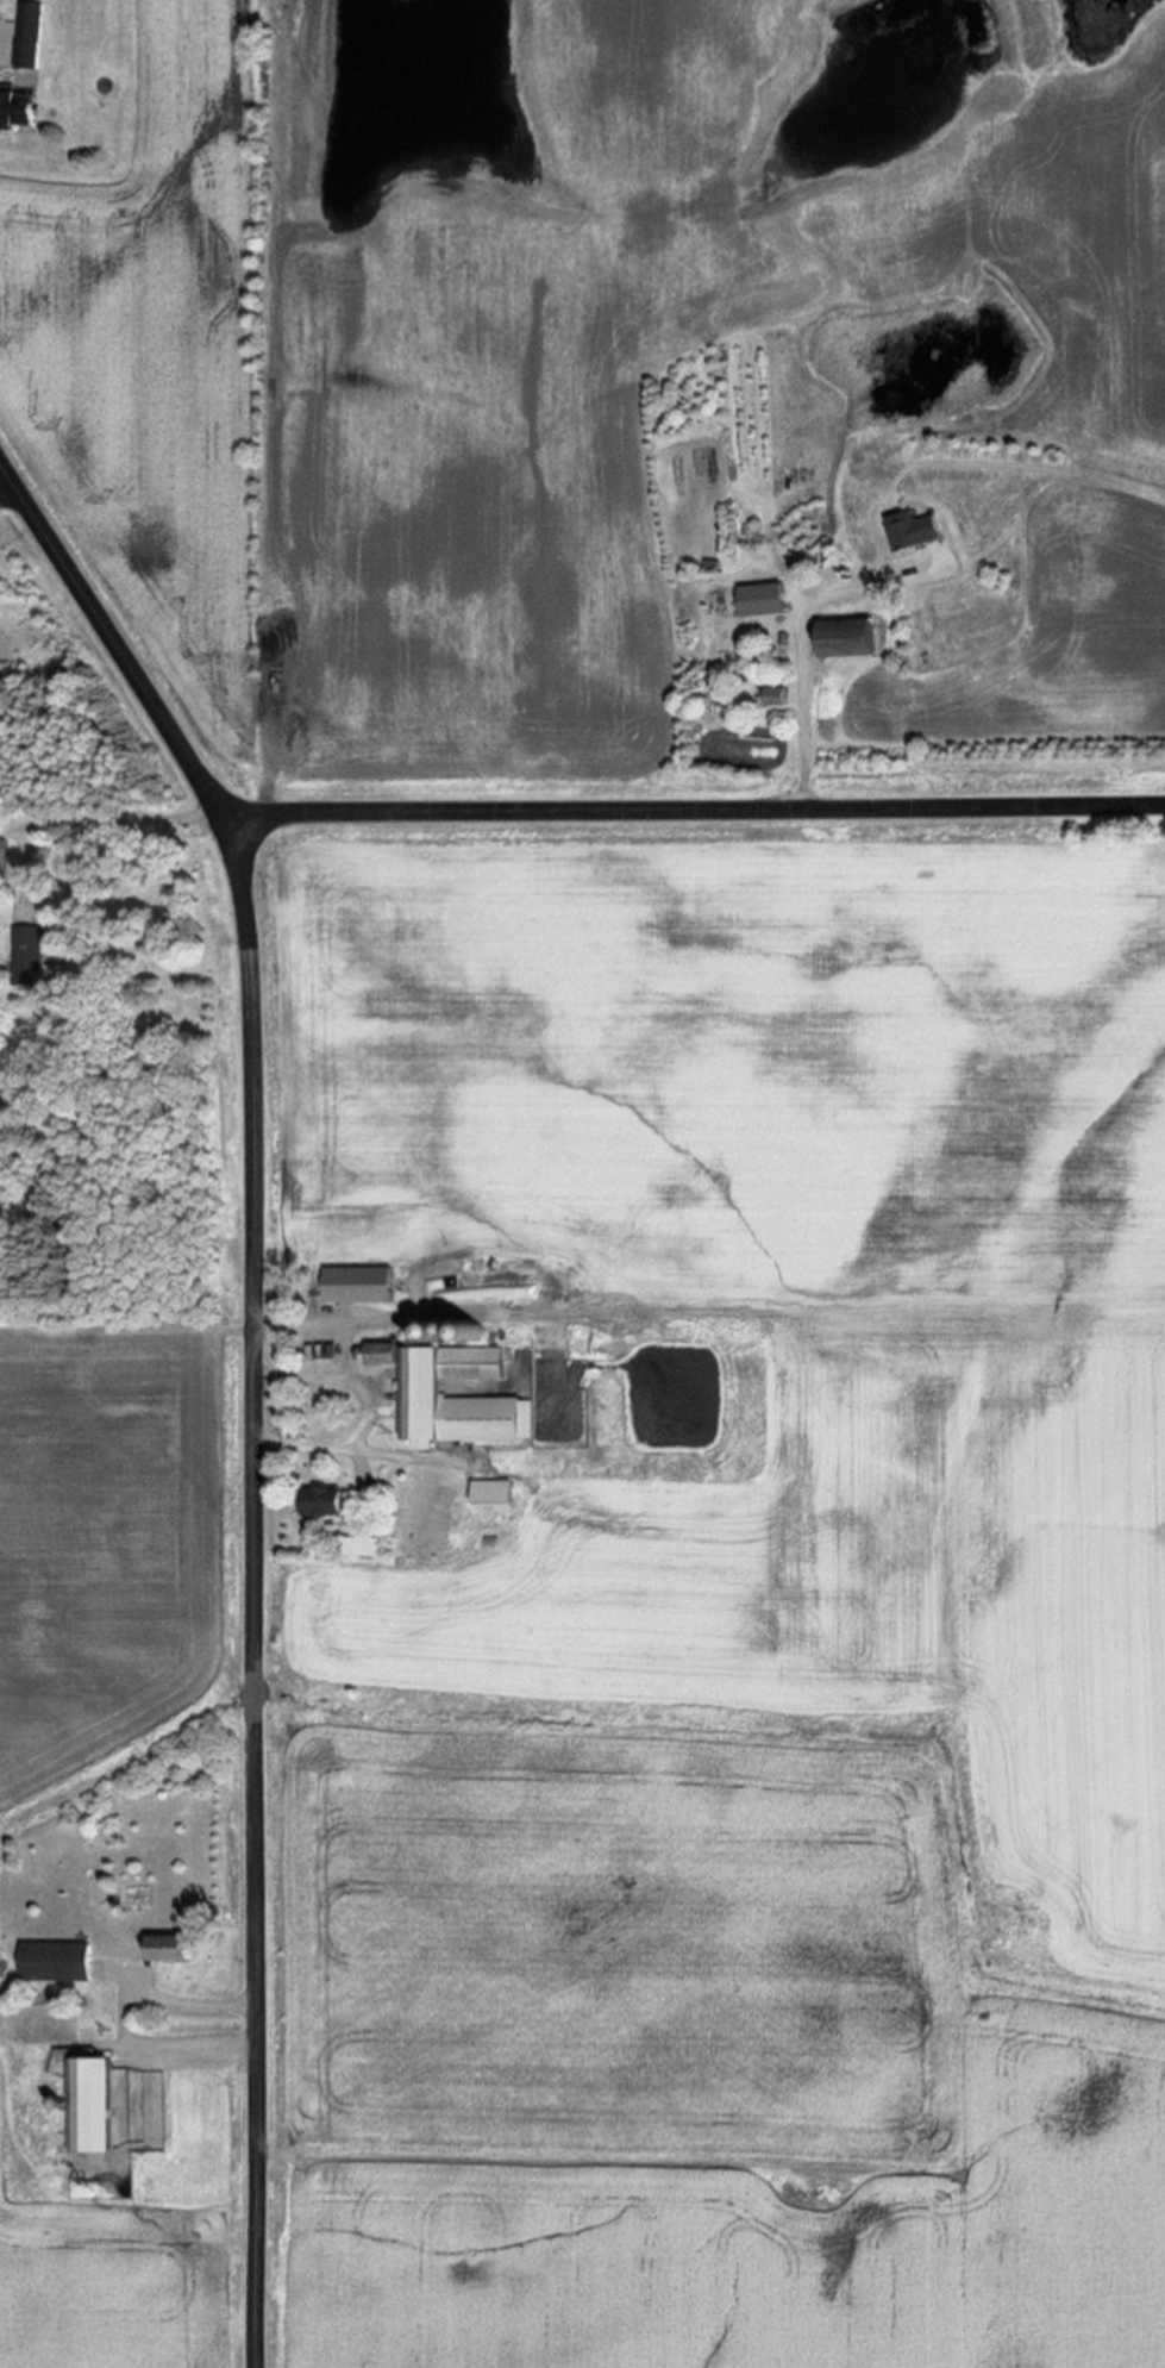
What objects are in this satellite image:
building: (26, 38)
building: (14, 112)
road: (6, 487)
building: (907, 532)
building: (757, 602)
road: (801, 639)
building: (841, 641)
building: (772, 699)
road: (693, 811)
road: (93, 820)
building: (2, 858)
building: (27, 957)
building: (350, 1286)
road: (328, 1325)
building: (375, 1355)
road: (343, 1380)
road: (256, 1382)
building: (453, 1398)
road: (346, 1447)
building: (486, 1493)
building: (162, 1950)
building: (52, 1962)
road: (126, 2023)
building: (84, 2106)

